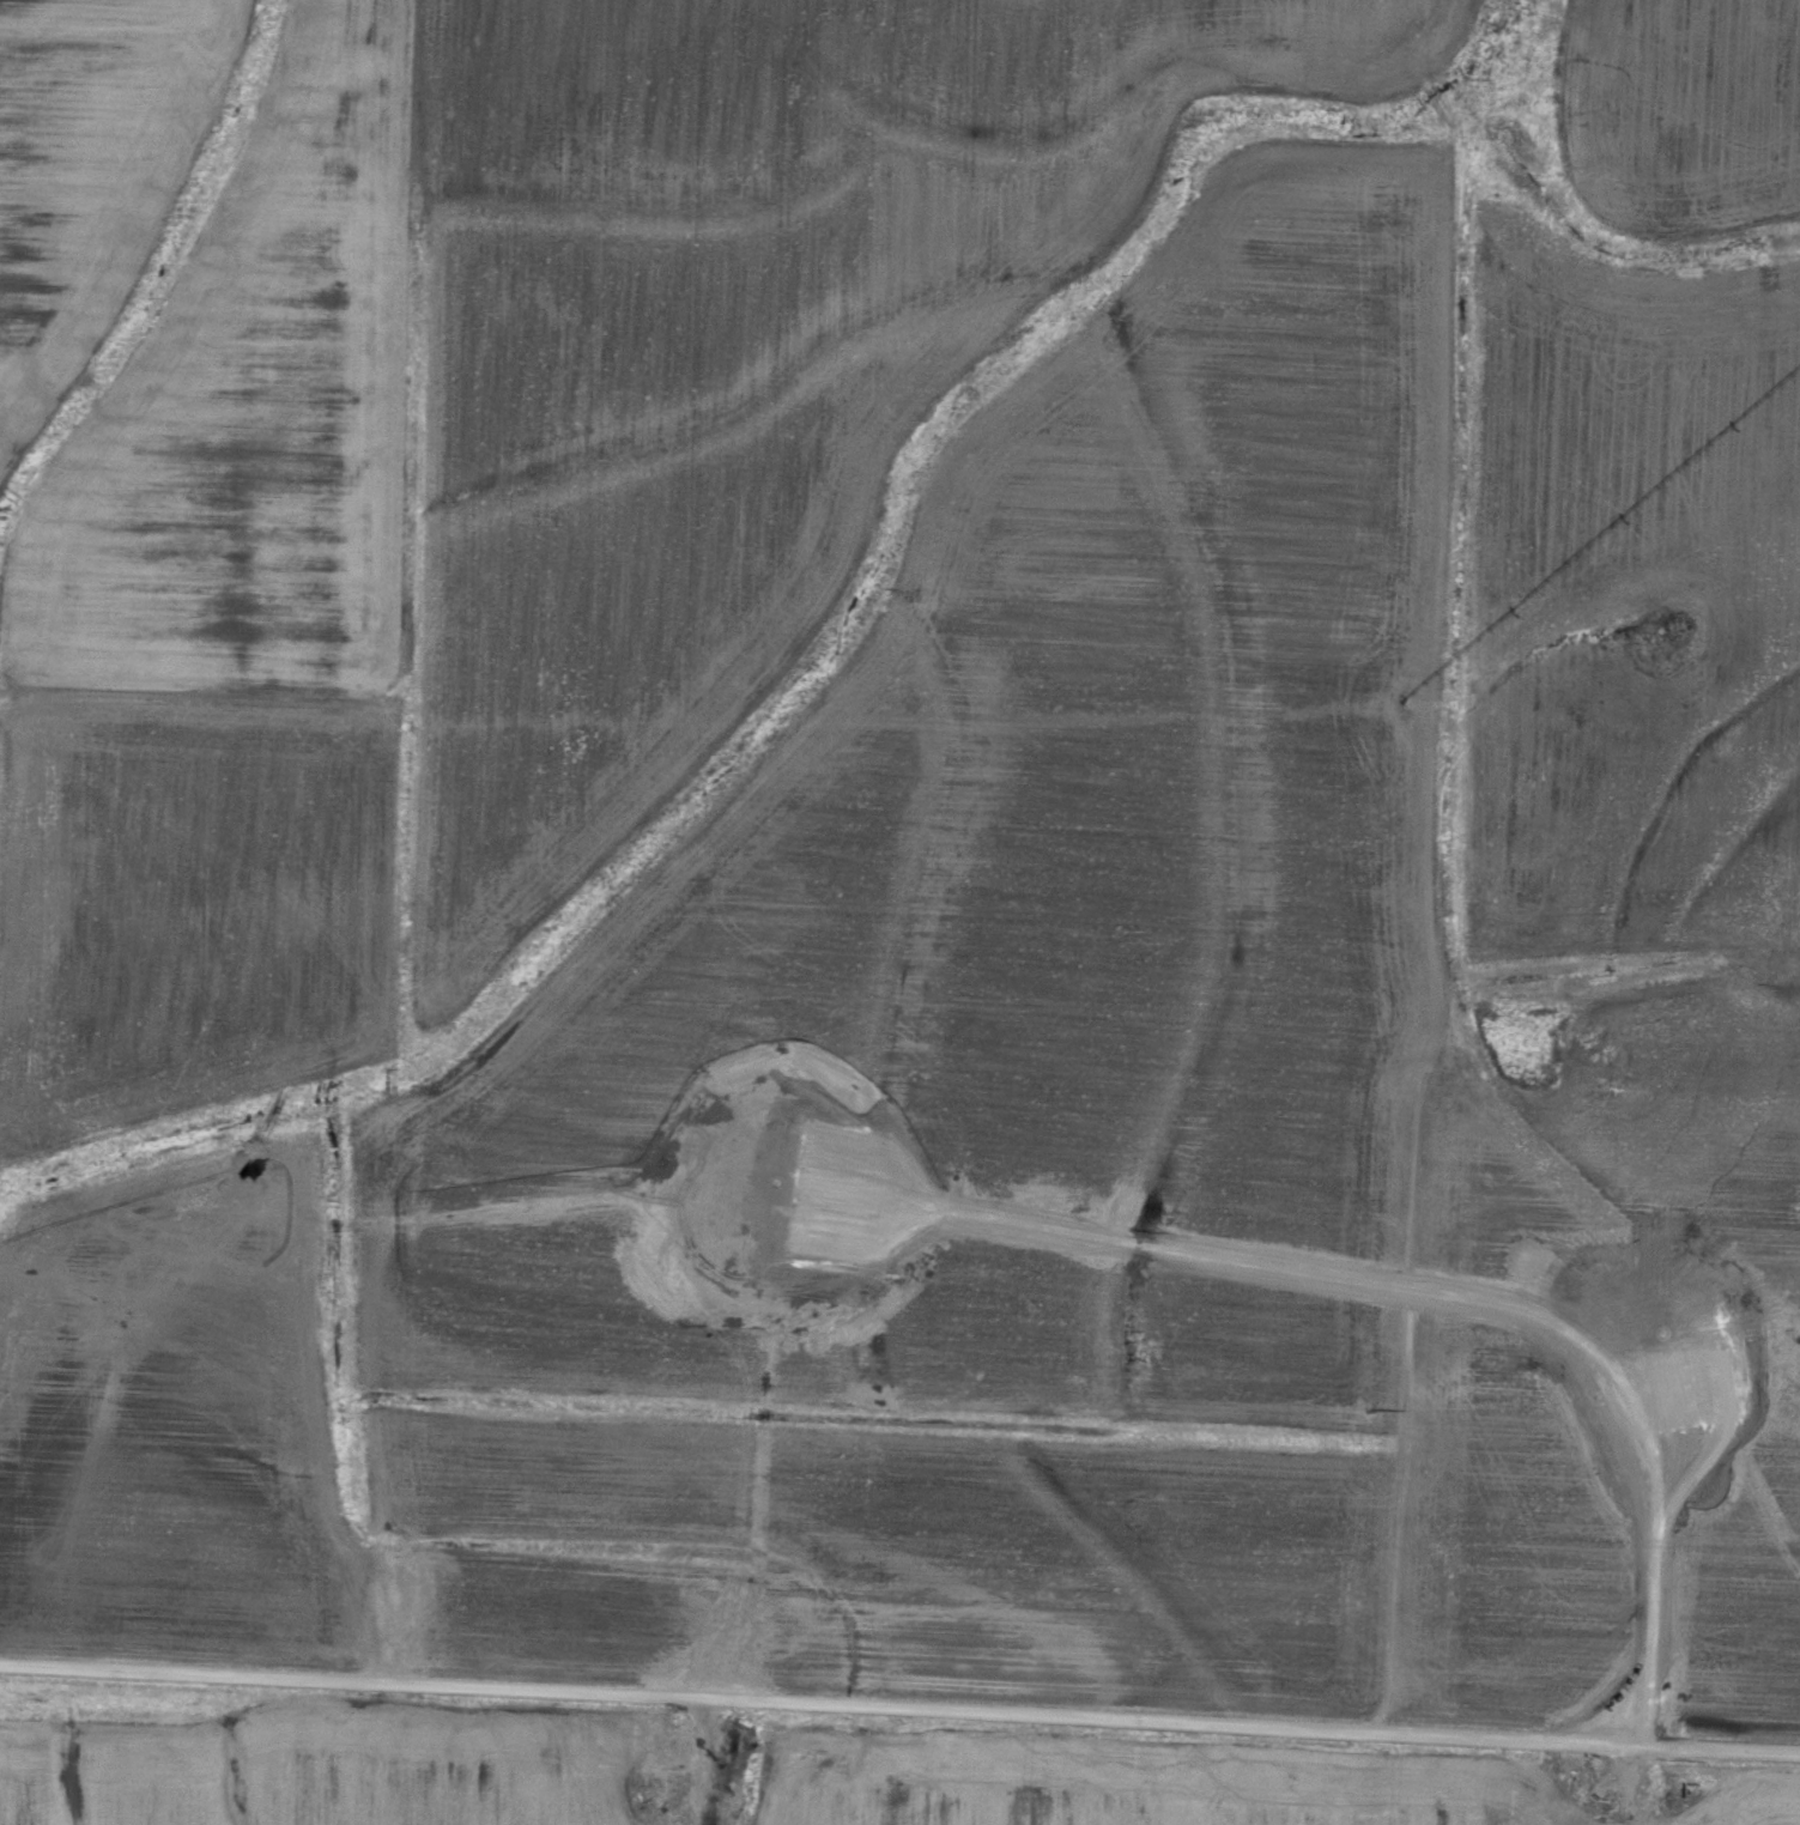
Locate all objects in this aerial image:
wind turbine: (766, 1189)
wind turbine: (1662, 1352)
road: (899, 1706)

